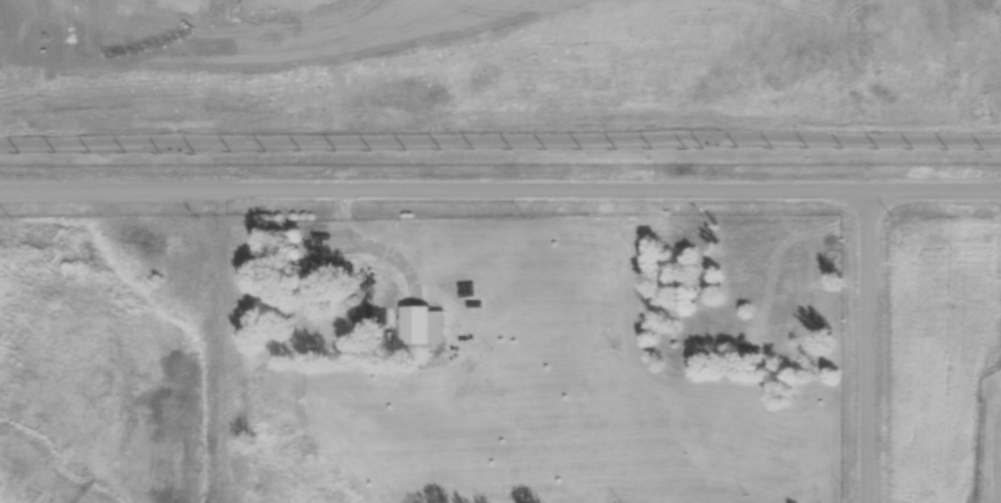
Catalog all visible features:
landfill: (504, 53)
road: (500, 141)
road: (934, 189)
road: (433, 190)
building: (321, 272)
building: (422, 327)
road: (869, 346)

